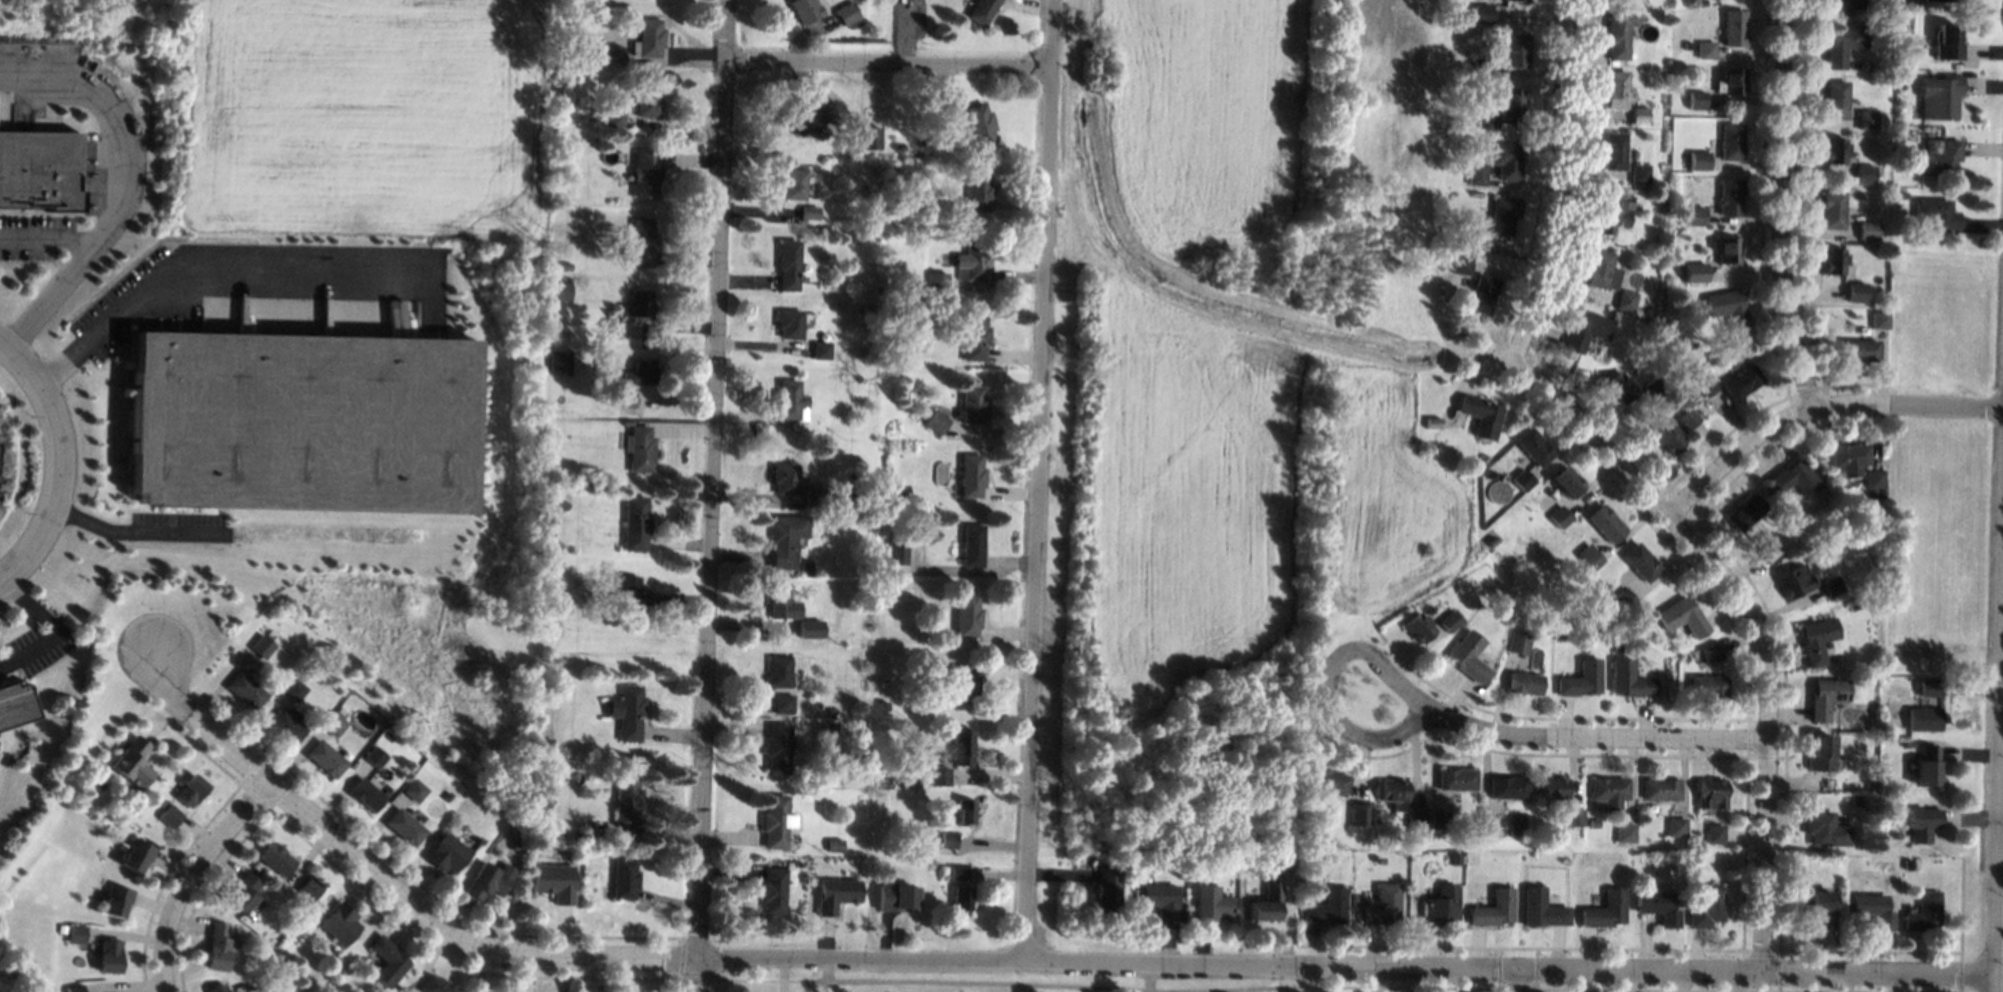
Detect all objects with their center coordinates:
building: (1526, 0)
building: (1712, 0)
building: (1947, 0)
building: (1842, 6)
building: (803, 9)
building: (981, 10)
building: (845, 12)
building: (1482, 12)
building: (1467, 17)
building: (1734, 27)
building: (1618, 30)
building: (648, 37)
building: (1947, 41)
building: (1842, 43)
building: (570, 45)
building: (1512, 49)
building: (1706, 49)
building: (1888, 51)
building: (609, 56)
road: (889, 63)
building: (1481, 68)
building: (1901, 78)
building: (1733, 80)
building: (1615, 88)
building: (1938, 95)
building: (1696, 99)
building: (1836, 99)
building: (647, 101)
building: (1511, 101)
building: (591, 110)
building: (951, 114)
building: (1638, 114)
building: (813, 115)
building: (612, 118)
building: (1866, 119)
building: (1485, 120)
road: (113, 121)
crop: (360, 121)
building: (979, 123)
building: (868, 137)
building: (1897, 137)
building: (1731, 141)
building: (898, 147)
building: (1834, 149)
building: (1613, 150)
building: (1939, 158)
building: (1698, 159)
building: (1508, 161)
building: (892, 166)
building: (38, 171)
building: (644, 172)
building: (1476, 173)
building: (1638, 173)
building: (1864, 173)
building: (792, 183)
road: (1553, 184)
building: (976, 192)
building: (1730, 197)
building: (1629, 198)
road: (1794, 204)
building: (879, 208)
building: (1832, 209)
building: (808, 212)
building: (1609, 213)
building: (1936, 214)
building: (1501, 215)
building: (1694, 215)
building: (1868, 230)
building: (1465, 234)
building: (642, 242)
building: (1728, 249)
road: (76, 257)
building: (1832, 260)
building: (971, 261)
building: (788, 263)
building: (1461, 263)
road: (212, 264)
building: (567, 265)
building: (1600, 269)
building: (1697, 272)
building: (937, 288)
building: (877, 289)
building: (561, 290)
building: (1855, 291)
building: (1481, 293)
building: (1624, 299)
building: (1681, 299)
building: (640, 302)
building: (870, 309)
building: (1728, 309)
building: (1650, 310)
building: (1879, 319)
building: (789, 323)
building: (613, 327)
building: (1586, 328)
building: (825, 335)
building: (974, 335)
building: (908, 347)
building: (819, 349)
building: (1859, 349)
building: (555, 352)
building: (1568, 353)
building: (639, 372)
building: (1741, 381)
building: (1688, 382)
building: (1705, 384)
building: (1655, 385)
building: (1620, 387)
building: (626, 398)
crop: (1231, 400)
building: (790, 402)
building: (972, 404)
road: (1816, 407)
road: (1574, 409)
building: (1479, 415)
building: (1687, 418)
building: (935, 421)
building: (301, 422)
building: (627, 422)
building: (1432, 422)
building: (1428, 436)
building: (1667, 438)
building: (1533, 445)
building: (639, 448)
building: (1849, 457)
road: (60, 461)
building: (971, 475)
building: (783, 477)
building: (1792, 478)
building: (1873, 478)
building: (1522, 479)
road: (1038, 480)
building: (1566, 481)
building: (853, 484)
building: (898, 490)
road: (711, 495)
building: (811, 496)
building: (562, 503)
building: (1745, 511)
building: (1559, 516)
building: (1605, 522)
building: (634, 523)
road: (129, 532)
building: (785, 539)
building: (1491, 540)
building: (971, 544)
building: (1771, 552)
building: (897, 553)
building: (1589, 556)
building: (1640, 561)
building: (579, 563)
building: (808, 567)
building: (862, 571)
building: (1795, 581)
building: (1832, 585)
building: (628, 593)
building: (1624, 598)
building: (781, 605)
building: (1854, 606)
building: (552, 610)
building: (966, 614)
building: (1682, 616)
building: (1449, 619)
road: (50, 627)
building: (803, 627)
building: (1417, 627)
building: (828, 630)
building: (1817, 639)
building: (1517, 642)
building: (260, 645)
building: (1617, 648)
building: (1710, 651)
building: (1467, 655)
building: (778, 671)
building: (301, 676)
building: (1869, 676)
building: (1629, 678)
building: (1580, 679)
road: (1329, 682)
building: (1523, 682)
building: (964, 683)
building: (1707, 685)
building: (1929, 688)
building: (292, 689)
building: (244, 690)
building: (1826, 696)
building: (781, 703)
building: (15, 704)
building: (831, 710)
building: (629, 712)
building: (1924, 718)
building: (331, 723)
building: (284, 725)
road: (1765, 725)
building: (828, 726)
building: (927, 726)
road: (1595, 737)
building: (1908, 742)
building: (542, 745)
building: (961, 745)
building: (776, 747)
building: (1820, 752)
building: (373, 756)
building: (323, 757)
building: (132, 762)
building: (1928, 766)
building: (941, 774)
building: (1455, 778)
building: (1328, 780)
building: (914, 783)
building: (1507, 786)
building: (1552, 786)
building: (1862, 786)
building: (1660, 788)
building: (413, 789)
building: (1711, 789)
building: (190, 790)
building: (1608, 790)
building: (1392, 792)
building: (364, 793)
building: (445, 796)
building: (626, 798)
building: (1856, 799)
building: (1880, 803)
building: (495, 804)
building: (1296, 805)
building: (963, 810)
building: (1360, 813)
building: (169, 815)
building: (1571, 816)
building: (1415, 818)
building: (1438, 819)
building: (776, 820)
building: (1593, 822)
building: (1922, 823)
building: (1491, 824)
building: (1676, 825)
building: (403, 826)
building: (1825, 828)
road: (1999, 831)
building: (1624, 832)
building: (1715, 833)
building: (586, 836)
building: (947, 839)
building: (1332, 840)
building: (514, 843)
building: (834, 844)
building: (445, 852)
building: (532, 852)
building: (137, 854)
building: (1332, 854)
building: (274, 858)
building: (1455, 858)
building: (1835, 859)
building: (799, 864)
building: (1908, 864)
building: (932, 867)
building: (957, 872)
building: (624, 877)
road: (190, 878)
building: (485, 880)
building: (553, 880)
building: (308, 888)
building: (773, 888)
building: (240, 891)
building: (1107, 891)
building: (835, 893)
building: (1303, 895)
building: (895, 897)
building: (961, 897)
building: (115, 899)
building: (1160, 899)
building: (1267, 901)
building: (587, 902)
building: (1210, 903)
building: (1384, 904)
building: (1442, 904)
building: (1328, 906)
building: (1657, 906)
building: (1706, 907)
building: (1494, 908)
building: (1541, 908)
building: (1819, 908)
building: (1873, 908)
building: (1604, 909)
building: (1924, 911)
building: (286, 920)
building: (338, 923)
building: (61, 928)
building: (76, 933)
building: (215, 946)
building: (109, 956)
building: (386, 960)
road: (1013, 960)
park: (1043, 982)
road: (1522, 982)
building: (305, 984)
building: (436, 985)
road: (1149, 985)
building: (333, 986)
building: (74, 988)
building: (215, 988)

